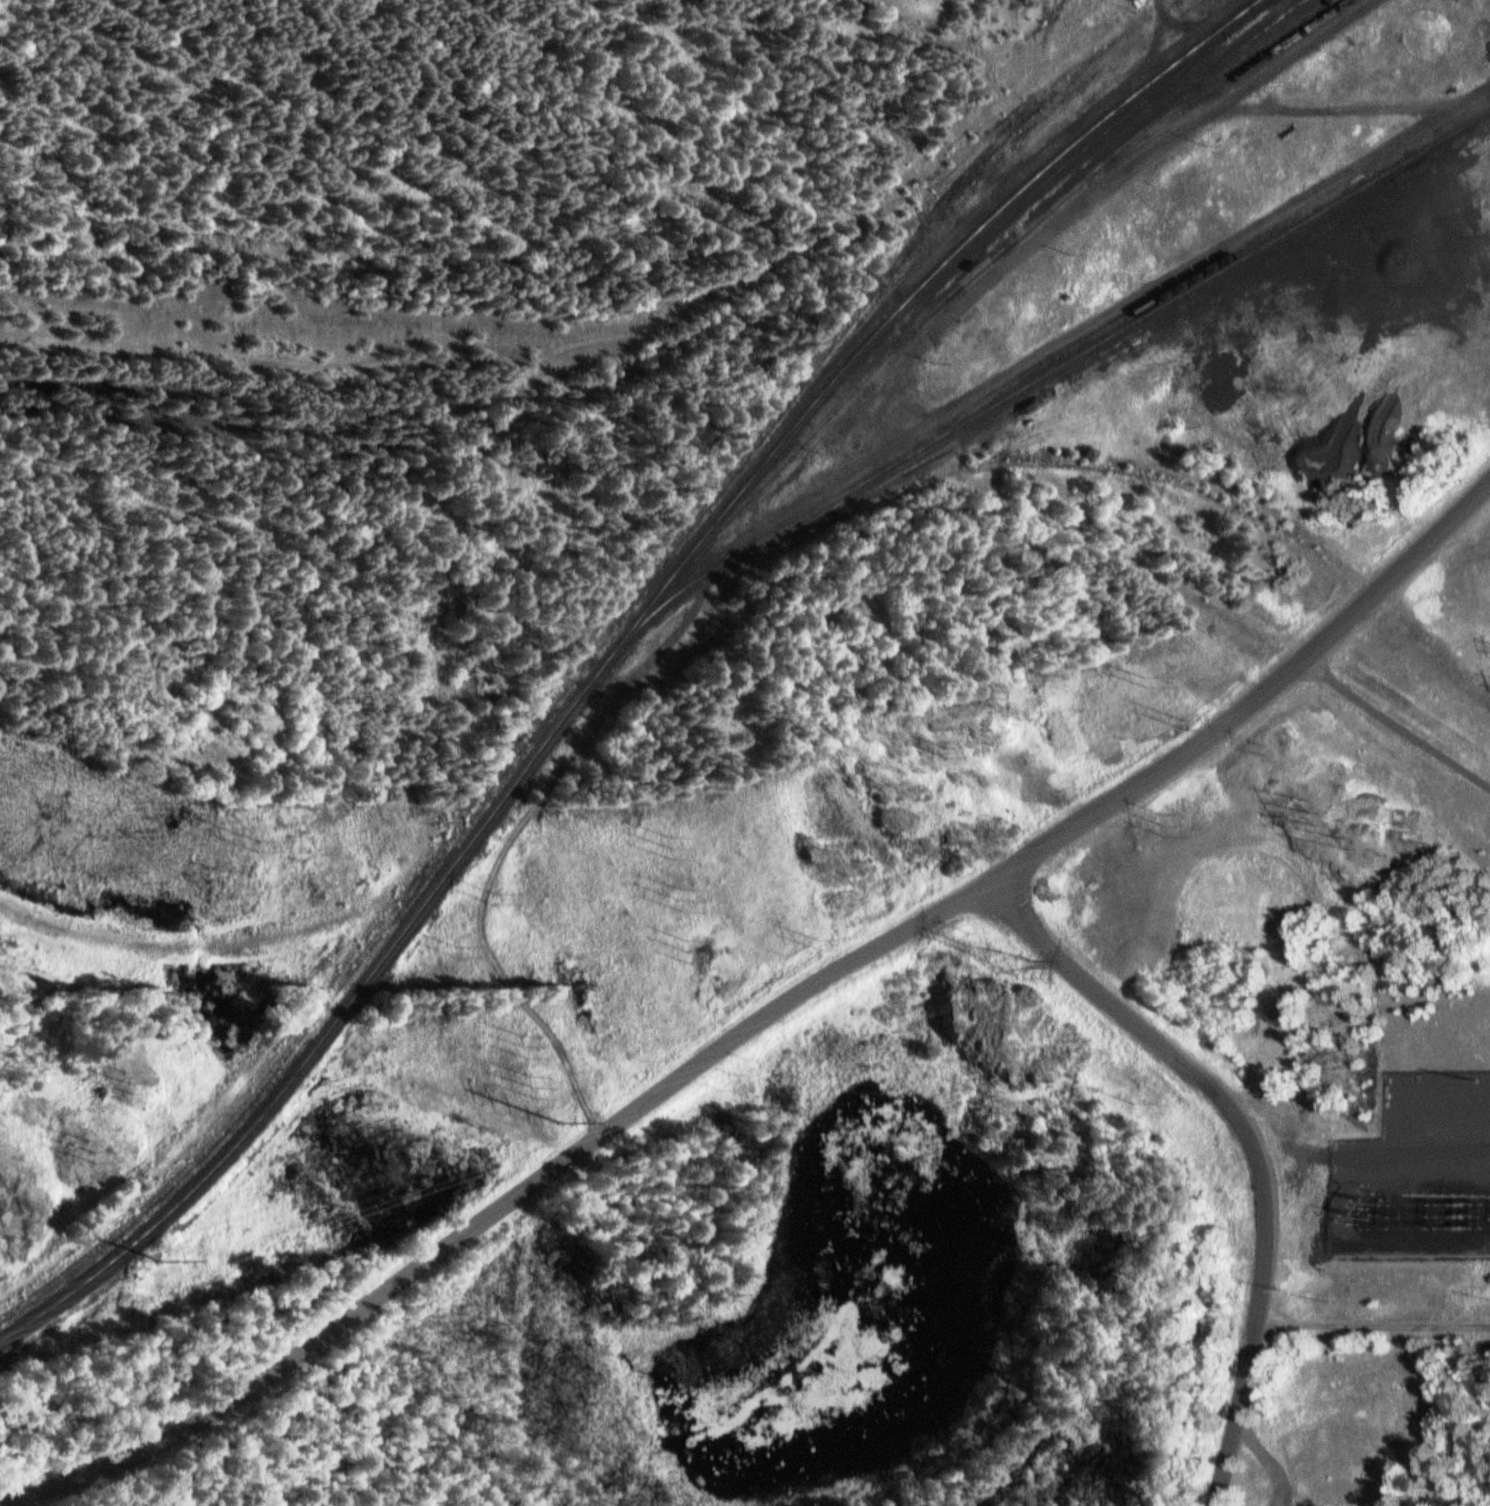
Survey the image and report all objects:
road: (1163, 22)
railway: (1220, 85)
railway: (981, 270)
railway: (610, 309)
railway: (1107, 328)
railway: (1038, 379)
road: (966, 396)
railway: (758, 422)
railway: (615, 655)
railway: (589, 660)
power tower: (1149, 679)
road: (1254, 700)
road: (1396, 720)
power tower: (1188, 723)
power tower: (1273, 746)
power tower: (947, 750)
power tower: (1324, 808)
power tower: (1166, 820)
power tower: (1359, 842)
power tower: (678, 843)
power tower: (261, 845)
power tower: (954, 859)
power tower: (502, 895)
power tower: (686, 896)
power tower: (972, 931)
power tower: (821, 941)
power tower: (460, 947)
power tower: (695, 948)
power tower: (1014, 966)
road: (504, 974)
road: (1140, 1023)
power tower: (525, 1041)
power tower: (536, 1079)
power tower: (129, 1080)
power tower: (560, 1120)
power tower: (94, 1151)
power substation: (1418, 1167)
road: (501, 1204)
power tower: (164, 1259)
road: (1373, 1321)
road: (1251, 1346)

